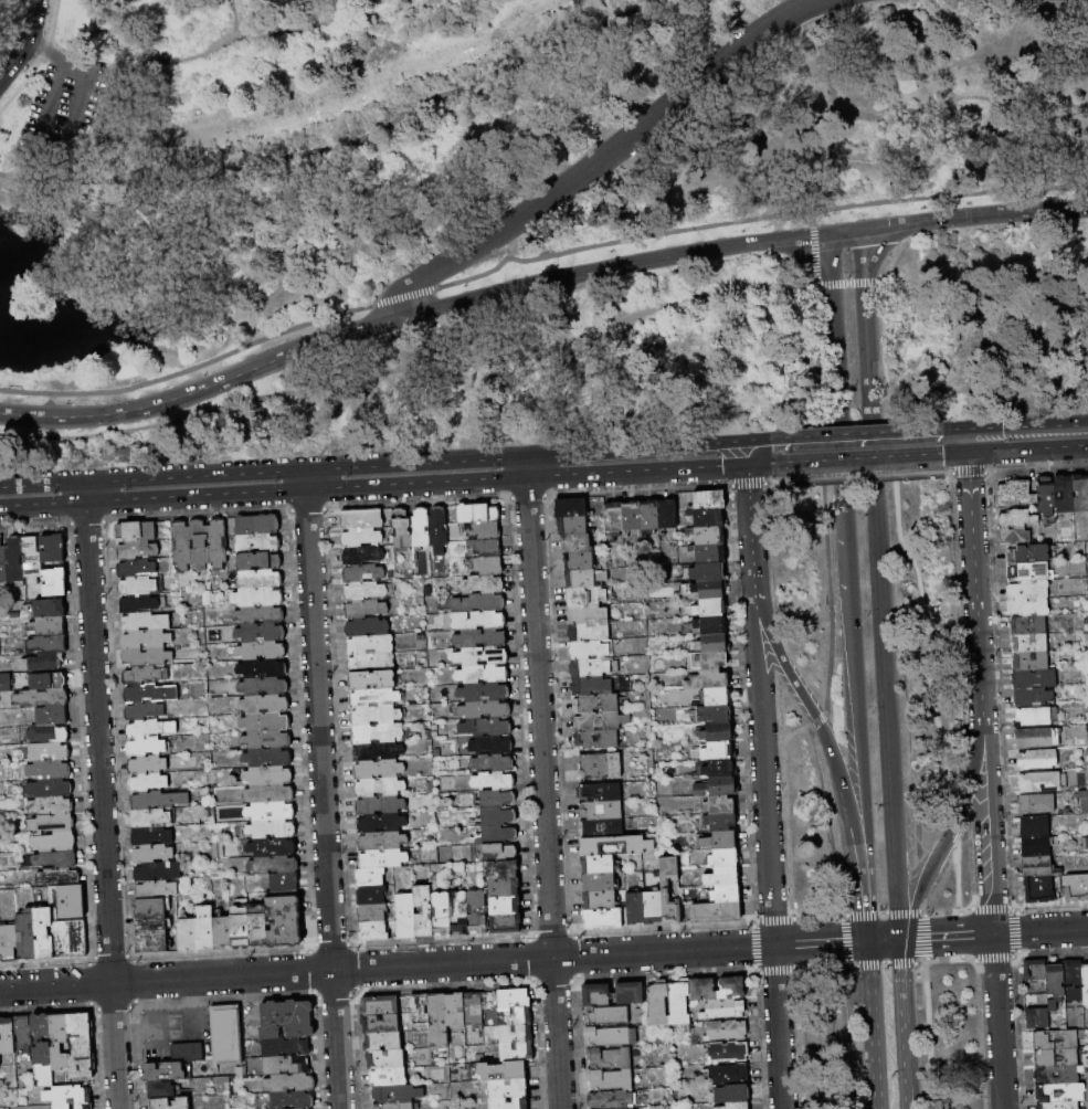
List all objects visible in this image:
road: (230, 18)
road: (237, 34)
road: (24, 41)
road: (54, 54)
road: (39, 60)
parking lot: (57, 109)
road: (65, 109)
road: (852, 116)
road: (339, 140)
road: (600, 157)
road: (815, 165)
road: (973, 215)
park: (531, 222)
road: (844, 232)
road: (813, 247)
road: (536, 260)
road: (609, 267)
road: (851, 283)
road: (986, 285)
road: (388, 317)
road: (408, 362)
road: (196, 384)
road: (201, 392)
road: (1014, 429)
traffic signals: (1001, 430)
road: (863, 437)
road: (958, 439)
traffic signals: (770, 442)
traffic signals: (784, 442)
road: (761, 448)
road: (1027, 451)
road: (955, 455)
traffic signals: (941, 456)
road: (864, 460)
road: (392, 463)
road: (526, 467)
traffic signals: (720, 468)
road: (966, 473)
traffic signals: (969, 476)
road: (969, 478)
road: (305, 479)
road: (393, 486)
building: (1014, 490)
road: (84, 492)
building: (1080, 493)
building: (1063, 494)
building: (1045, 495)
road: (824, 498)
building: (708, 499)
building: (569, 508)
building: (476, 513)
building: (666, 514)
building: (648, 515)
building: (631, 516)
building: (613, 517)
building: (707, 517)
building: (1015, 517)
building: (359, 518)
building: (385, 518)
building: (256, 525)
road: (750, 525)
building: (571, 526)
building: (419, 527)
building: (401, 529)
building: (436, 529)
building: (484, 530)
building: (135, 531)
building: (708, 535)
building: (1014, 536)
building: (359, 537)
building: (574, 542)
building: (216, 543)
building: (256, 543)
building: (199, 545)
building: (385, 545)
building: (180, 546)
building: (484, 548)
road: (901, 548)
building: (52, 549)
building: (136, 550)
building: (1026, 552)
building: (709, 553)
building: (359, 556)
building: (14, 559)
building: (32, 560)
building: (578, 560)
building: (258, 561)
building: (2, 564)
building: (487, 566)
road: (847, 567)
building: (135, 568)
building: (1027, 570)
building: (706, 571)
building: (361, 573)
building: (583, 578)
building: (260, 579)
building: (54, 582)
road: (879, 583)
building: (482, 584)
building: (136, 587)
building: (1027, 588)
building: (703, 589)
building: (362, 591)
building: (584, 595)
building: (257, 596)
building: (477, 602)
building: (137, 603)
building: (1028, 605)
building: (709, 608)
building: (49, 609)
building: (363, 609)
road: (975, 610)
building: (587, 614)
building: (258, 615)
building: (477, 621)
road: (955, 621)
building: (144, 622)
building: (710, 624)
building: (1028, 625)
building: (47, 626)
building: (366, 627)
building: (588, 632)
building: (260, 633)
building: (478, 638)
building: (145, 640)
building: (712, 643)
building: (1029, 643)
building: (46, 644)
building: (369, 645)
building: (587, 649)
building: (261, 651)
building: (480, 656)
building: (146, 657)
building: (710, 659)
building: (1029, 661)
building: (369, 662)
building: (41, 663)
building: (588, 667)
building: (262, 668)
building: (64, 674)
building: (482, 674)
building: (144, 675)
building: (1034, 678)
building: (370, 679)
building: (706, 679)
building: (4, 683)
building: (590, 685)
building: (263, 686)
road: (999, 689)
building: (483, 691)
building: (142, 693)
building: (716, 696)
building: (1031, 696)
building: (41, 698)
building: (373, 698)
building: (264, 704)
building: (594, 704)
building: (484, 709)
building: (142, 711)
building: (714, 714)
building: (51, 716)
building: (373, 716)
building: (1032, 716)
building: (599, 721)
road: (817, 721)
building: (264, 722)
building: (489, 727)
building: (145, 729)
building: (717, 732)
building: (47, 733)
building: (374, 733)
road: (826, 736)
building: (595, 738)
building: (1033, 738)
building: (266, 740)
building: (490, 744)
building: (145, 747)
building: (717, 750)
building: (376, 751)
building: (49, 752)
building: (267, 758)
building: (1036, 759)
building: (492, 762)
building: (146, 764)
road: (763, 764)
building: (599, 765)
building: (719, 769)
building: (50, 770)
building: (377, 770)
building: (267, 775)
building: (492, 781)
building: (1037, 782)
building: (147, 783)
park: (875, 784)
building: (378, 786)
building: (716, 786)
building: (52, 788)
building: (599, 792)
building: (268, 793)
road: (543, 794)
road: (964, 796)
building: (495, 799)
building: (1084, 799)
building: (157, 800)
road: (323, 800)
building: (718, 803)
building: (1036, 803)
building: (51, 805)
building: (378, 805)
road: (102, 806)
building: (600, 810)
building: (270, 812)
building: (149, 817)
building: (495, 817)
building: (719, 821)
road: (826, 822)
building: (53, 823)
building: (379, 823)
road: (987, 824)
building: (1033, 825)
road: (952, 826)
building: (601, 827)
road: (952, 828)
building: (271, 830)
building: (150, 835)
building: (496, 835)
building: (720, 839)
building: (380, 841)
building: (54, 842)
building: (1037, 844)
building: (638, 845)
building: (272, 847)
building: (496, 853)
building: (151, 854)
building: (725, 856)
road: (970, 856)
building: (55, 858)
building: (381, 858)
building: (596, 864)
building: (273, 865)
building: (1038, 867)
building: (501, 869)
building: (157, 872)
road: (955, 875)
building: (59, 876)
building: (722, 876)
building: (369, 877)
building: (283, 883)
building: (598, 883)
building: (1076, 886)
building: (503, 888)
building: (155, 889)
building: (1038, 889)
building: (668, 891)
building: (727, 893)
building: (370, 895)
building: (599, 900)
road: (972, 900)
building: (71, 901)
building: (504, 906)
building: (148, 907)
building: (634, 907)
building: (652, 907)
road: (989, 907)
traffic signals: (866, 908)
road: (958, 908)
road: (964, 908)
road: (1014, 908)
road: (920, 910)
building: (422, 911)
building: (476, 911)
building: (715, 911)
road: (940, 911)
road: (959, 911)
building: (371, 912)
building: (458, 912)
building: (685, 912)
road: (881, 912)
building: (440, 913)
road: (841, 915)
building: (404, 917)
road: (816, 917)
building: (604, 918)
building: (283, 919)
road: (770, 919)
road: (867, 920)
building: (505, 923)
building: (150, 925)
building: (240, 928)
building: (257, 928)
building: (203, 929)
road: (1041, 929)
building: (372, 931)
road: (1016, 931)
building: (43, 932)
building: (221, 932)
building: (27, 934)
building: (186, 934)
road: (950, 934)
road: (960, 934)
road: (923, 936)
traffic signals: (929, 937)
road: (904, 938)
building: (70, 939)
road: (843, 939)
road: (884, 939)
building: (9, 941)
traffic signals: (839, 941)
building: (151, 942)
road: (821, 942)
road: (750, 943)
road: (900, 950)
road: (904, 950)
road: (1015, 953)
building: (0, 954)
road: (107, 955)
road: (129, 955)
road: (961, 957)
road: (992, 958)
road: (88, 959)
road: (926, 959)
road: (941, 960)
road: (968, 960)
road: (846, 962)
road: (917, 962)
road: (884, 963)
road: (851, 964)
road: (975, 965)
road: (387, 967)
road: (821, 967)
traffic signals: (901, 968)
road: (777, 970)
road: (921, 970)
building: (1034, 970)
road: (754, 971)
road: (665, 972)
road: (573, 979)
road: (133, 980)
building: (1073, 981)
road: (553, 982)
road: (88, 983)
road: (535, 983)
building: (1085, 983)
building: (731, 984)
building: (1055, 984)
road: (444, 985)
road: (250, 987)
road: (202, 992)
road: (353, 992)
road: (184, 993)
building: (612, 994)
road: (332, 995)
road: (315, 996)
road: (224, 999)
building: (513, 999)
building: (678, 1002)
road: (88, 1004)
road: (131, 1004)
building: (657, 1004)
building: (378, 1006)
road: (110, 1007)
building: (418, 1007)
road: (46, 1008)
road: (94, 1008)
building: (473, 1008)
building: (723, 1008)
building: (454, 1010)
road: (128, 1014)
road: (252, 1015)
building: (605, 1015)
building: (514, 1016)
building: (1037, 1017)
building: (286, 1020)
building: (437, 1020)
road: (999, 1021)
road: (204, 1023)
road: (187, 1024)
building: (379, 1024)
road: (873, 1024)
road: (167, 1027)
road: (778, 1027)
building: (726, 1031)
building: (21, 1034)
building: (514, 1034)
building: (225, 1035)
building: (7, 1036)
building: (610, 1036)
road: (905, 1036)
road: (851, 1037)
road: (197, 1038)
road: (797, 1038)
building: (1055, 1039)
road: (759, 1041)
road: (979, 1041)
building: (382, 1042)
road: (129, 1044)
road: (926, 1044)
building: (59, 1045)
building: (80, 1046)
building: (285, 1047)
building: (41, 1050)
building: (515, 1052)
building: (726, 1052)
building: (187, 1053)
building: (608, 1057)
building: (1055, 1057)
road: (95, 1058)
building: (384, 1059)
building: (252, 1064)
building: (285, 1065)
building: (503, 1070)
building: (162, 1073)
building: (726, 1074)
building: (1044, 1075)
building: (387, 1077)
building: (610, 1079)
building: (289, 1082)
building: (507, 1088)
building: (159, 1090)
building: (732, 1092)
building: (1061, 1092)
building: (395, 1094)
building: (66, 1095)
building: (610, 1099)
building: (292, 1100)
building: (159, 1103)
building: (508, 1103)
building: (1057, 1105)
building: (60, 1106)
building: (82, 1106)
building: (392, 1106)
building: (735, 1106)
building: (623, 1108)

